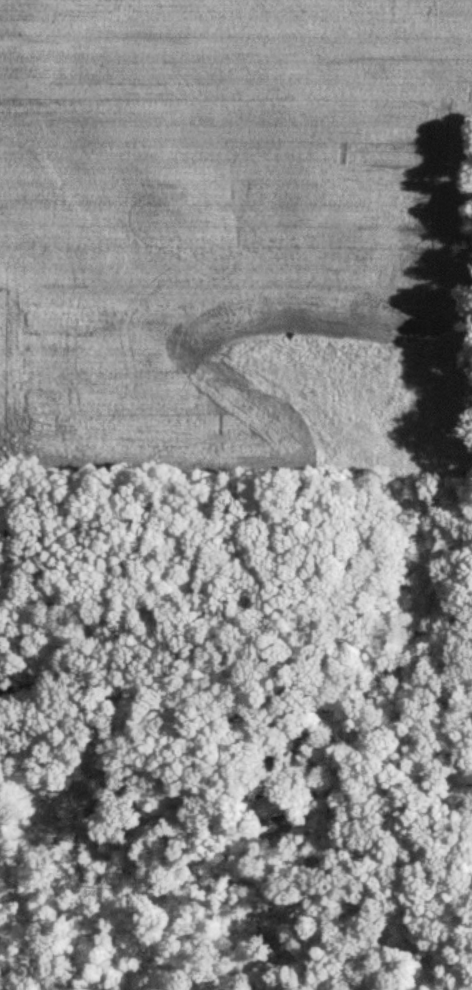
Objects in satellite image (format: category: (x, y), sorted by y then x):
road: (155, 678)
building: (275, 808)

